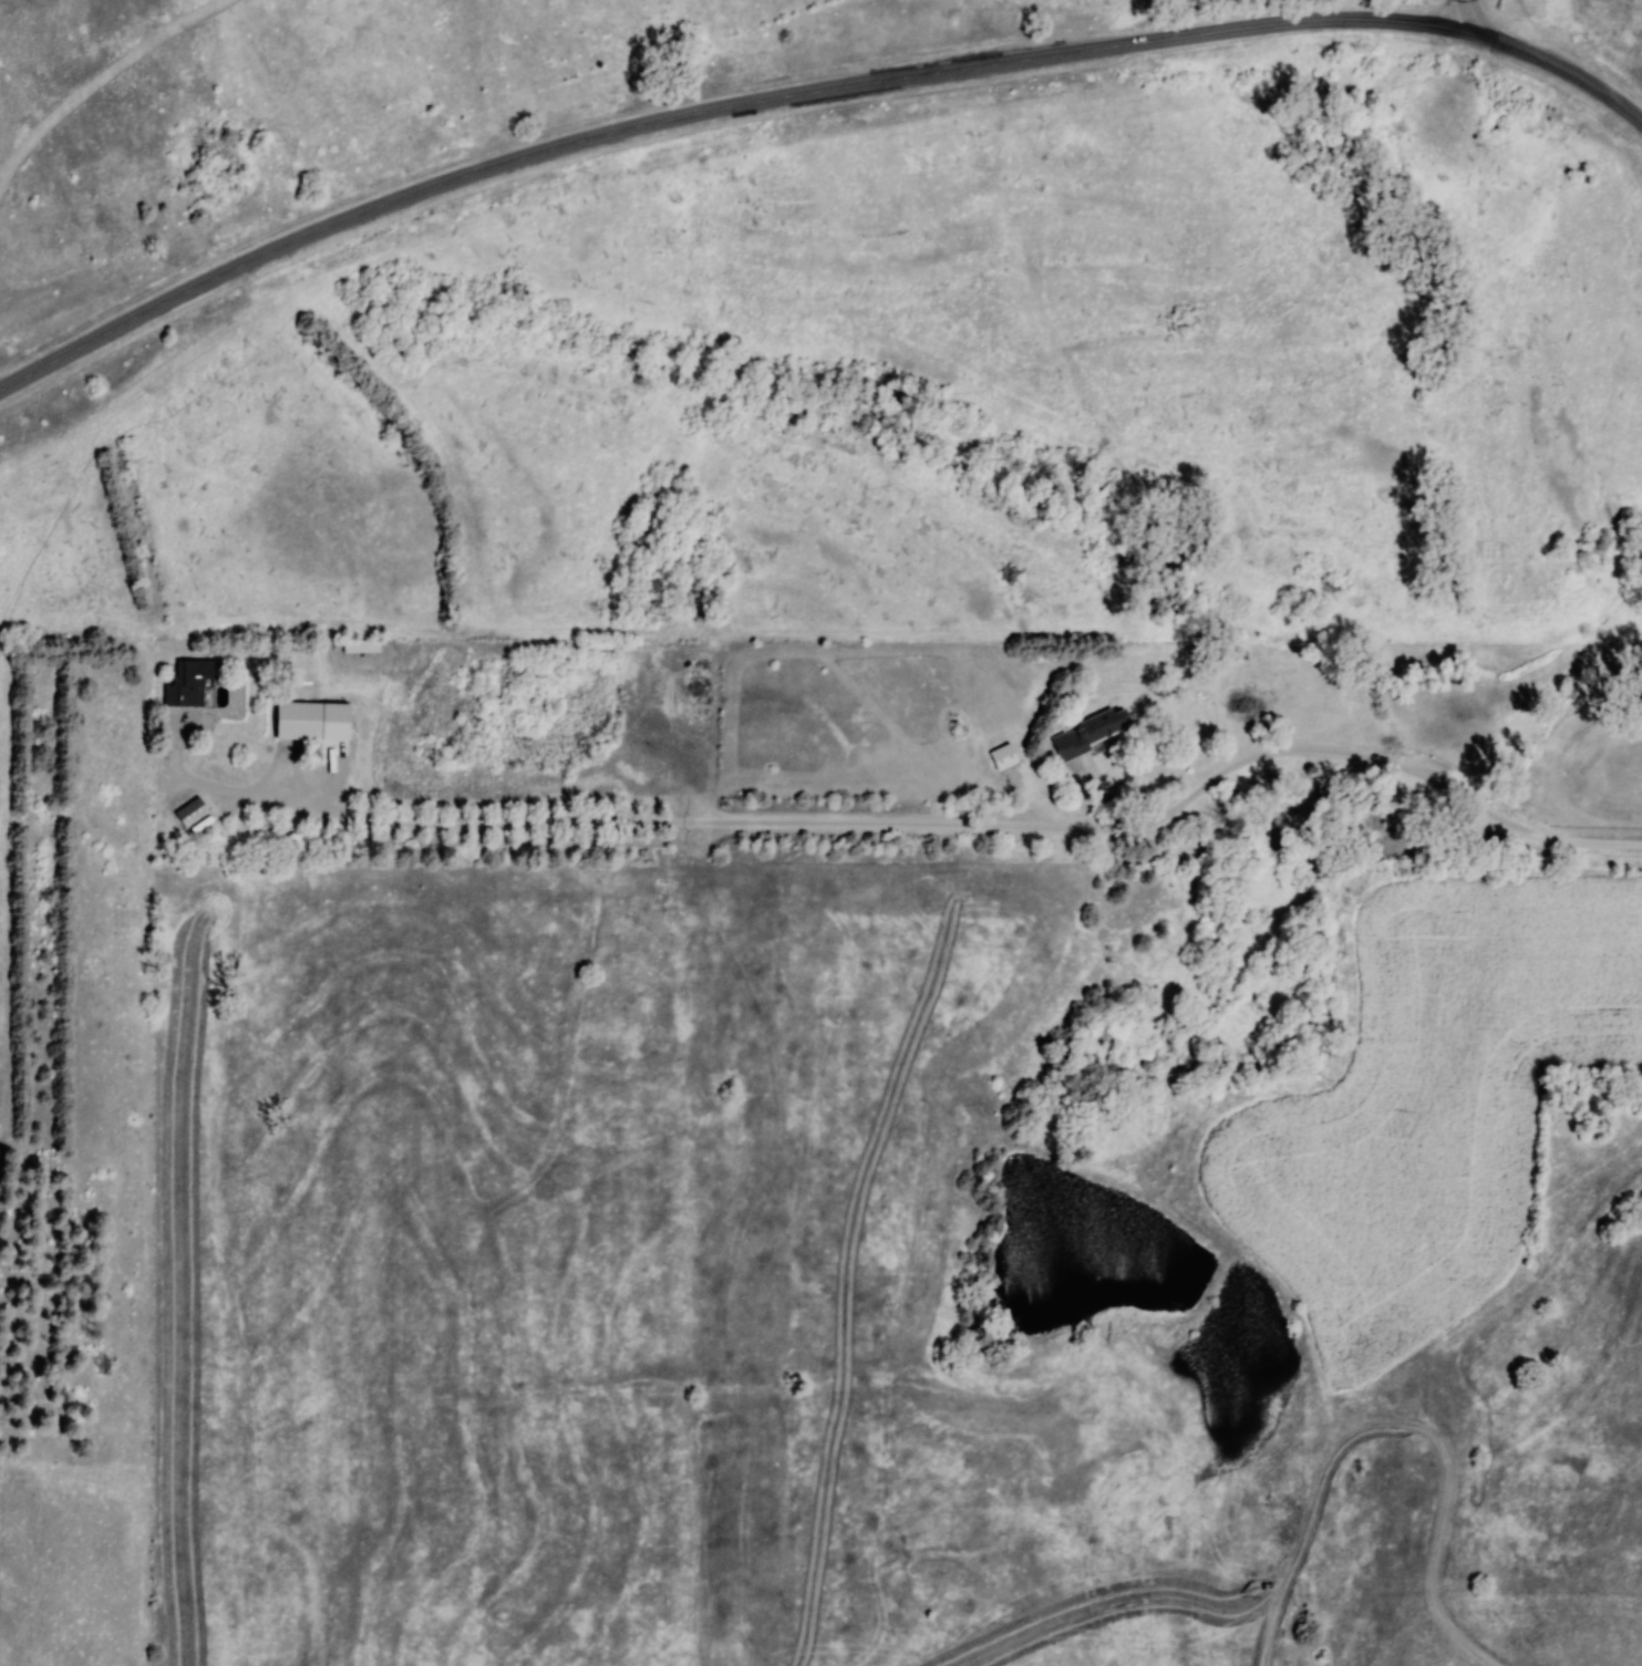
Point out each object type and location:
road: (1464, 17)
road: (1558, 66)
road: (100, 82)
road: (708, 107)
park: (420, 108)
building: (189, 683)
building: (300, 721)
building: (1091, 733)
road: (1186, 800)
building: (192, 811)
road: (414, 826)

